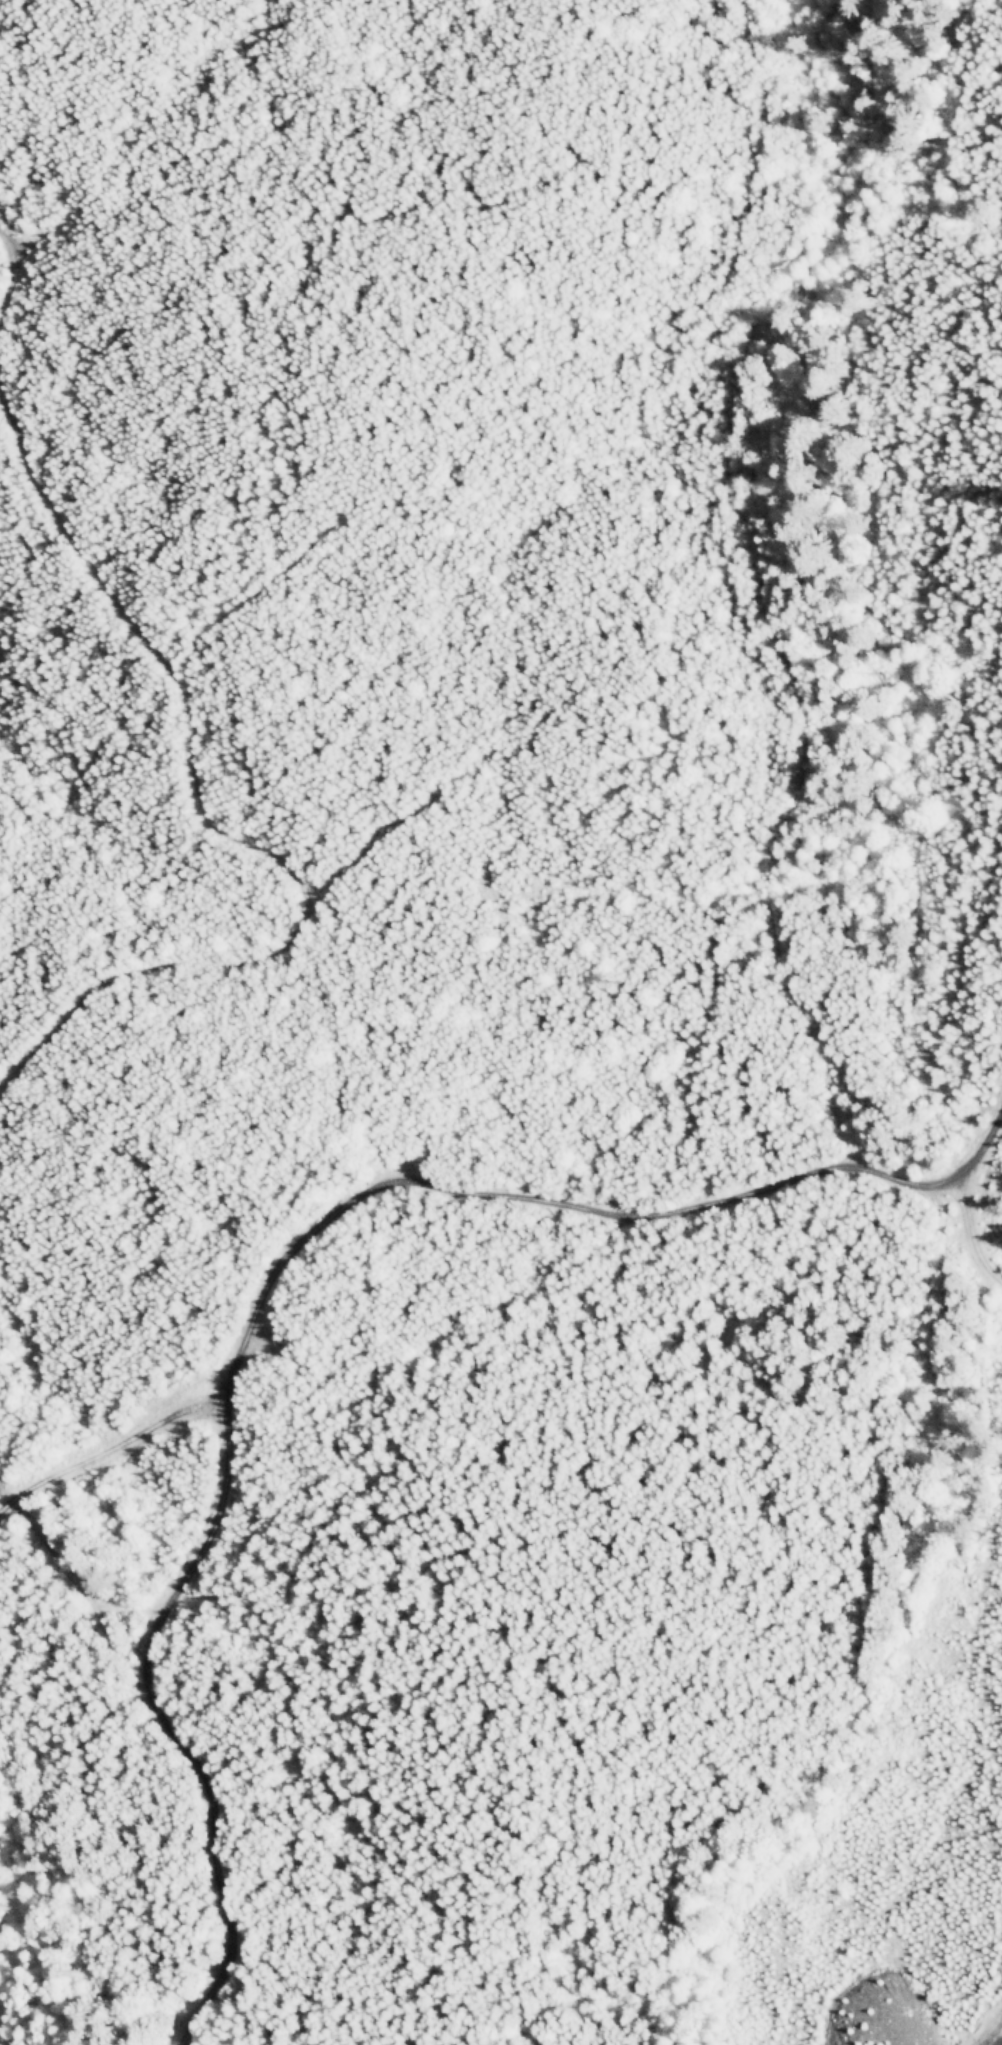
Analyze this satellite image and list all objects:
road: (186, 701)
road: (120, 978)
road: (984, 1146)
road: (688, 1197)
road: (115, 1441)
road: (218, 1495)
road: (7, 1501)
road: (56, 1559)
road: (715, 1622)
road: (216, 1944)

